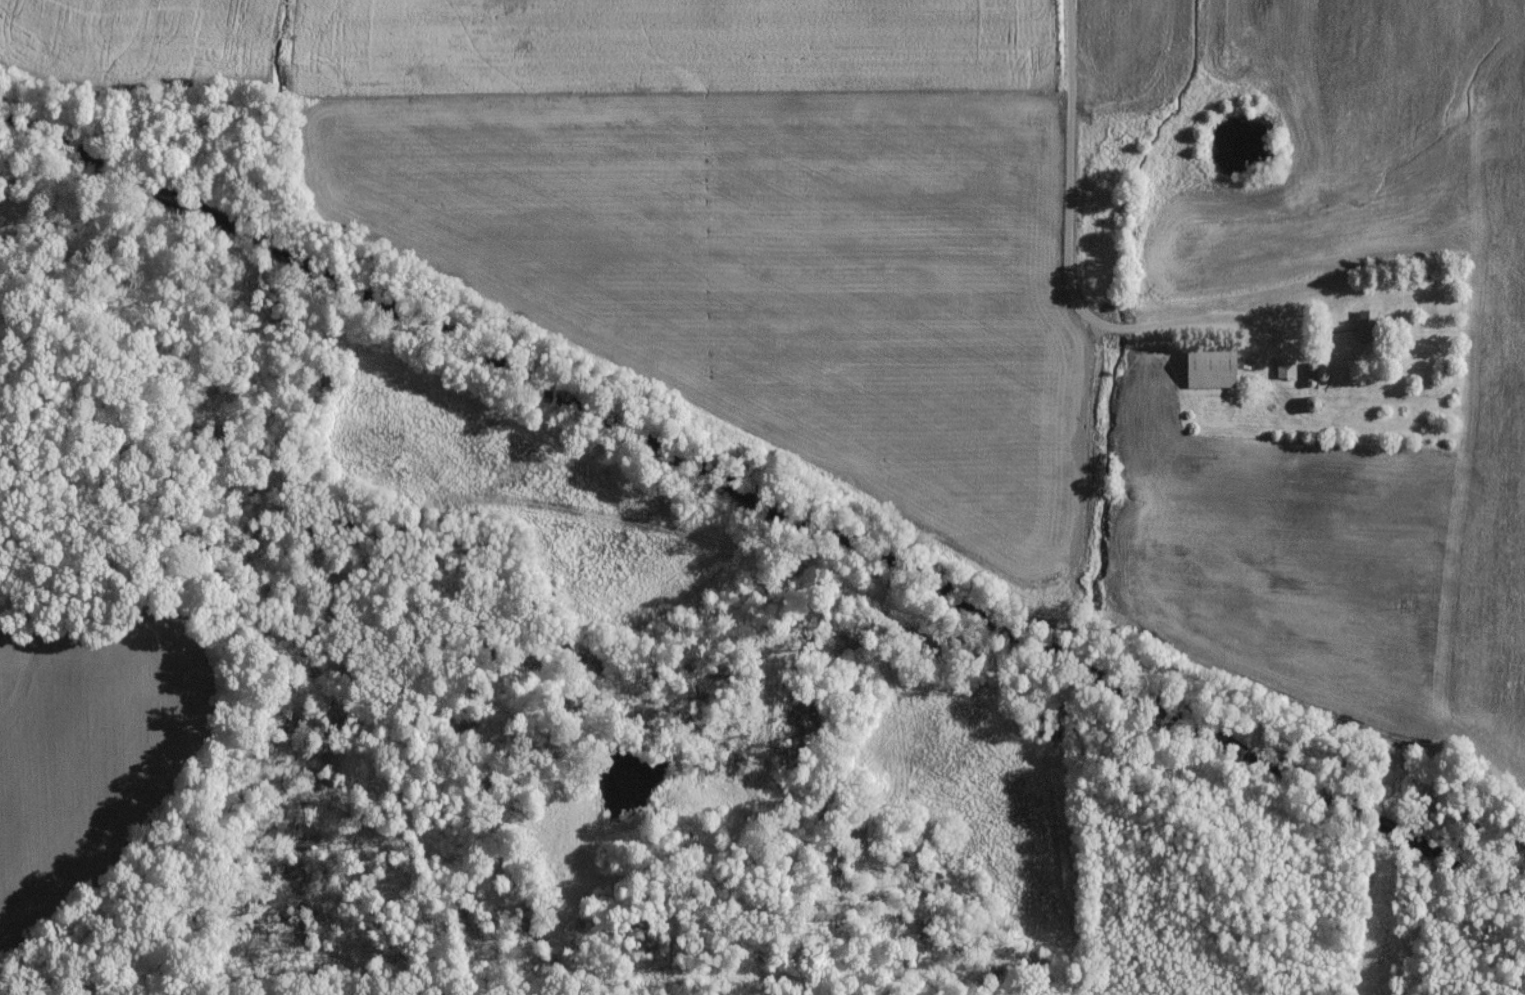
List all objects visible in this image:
road: (1072, 175)
road: (1191, 320)
building: (1285, 371)
building: (1212, 373)
building: (1309, 408)

